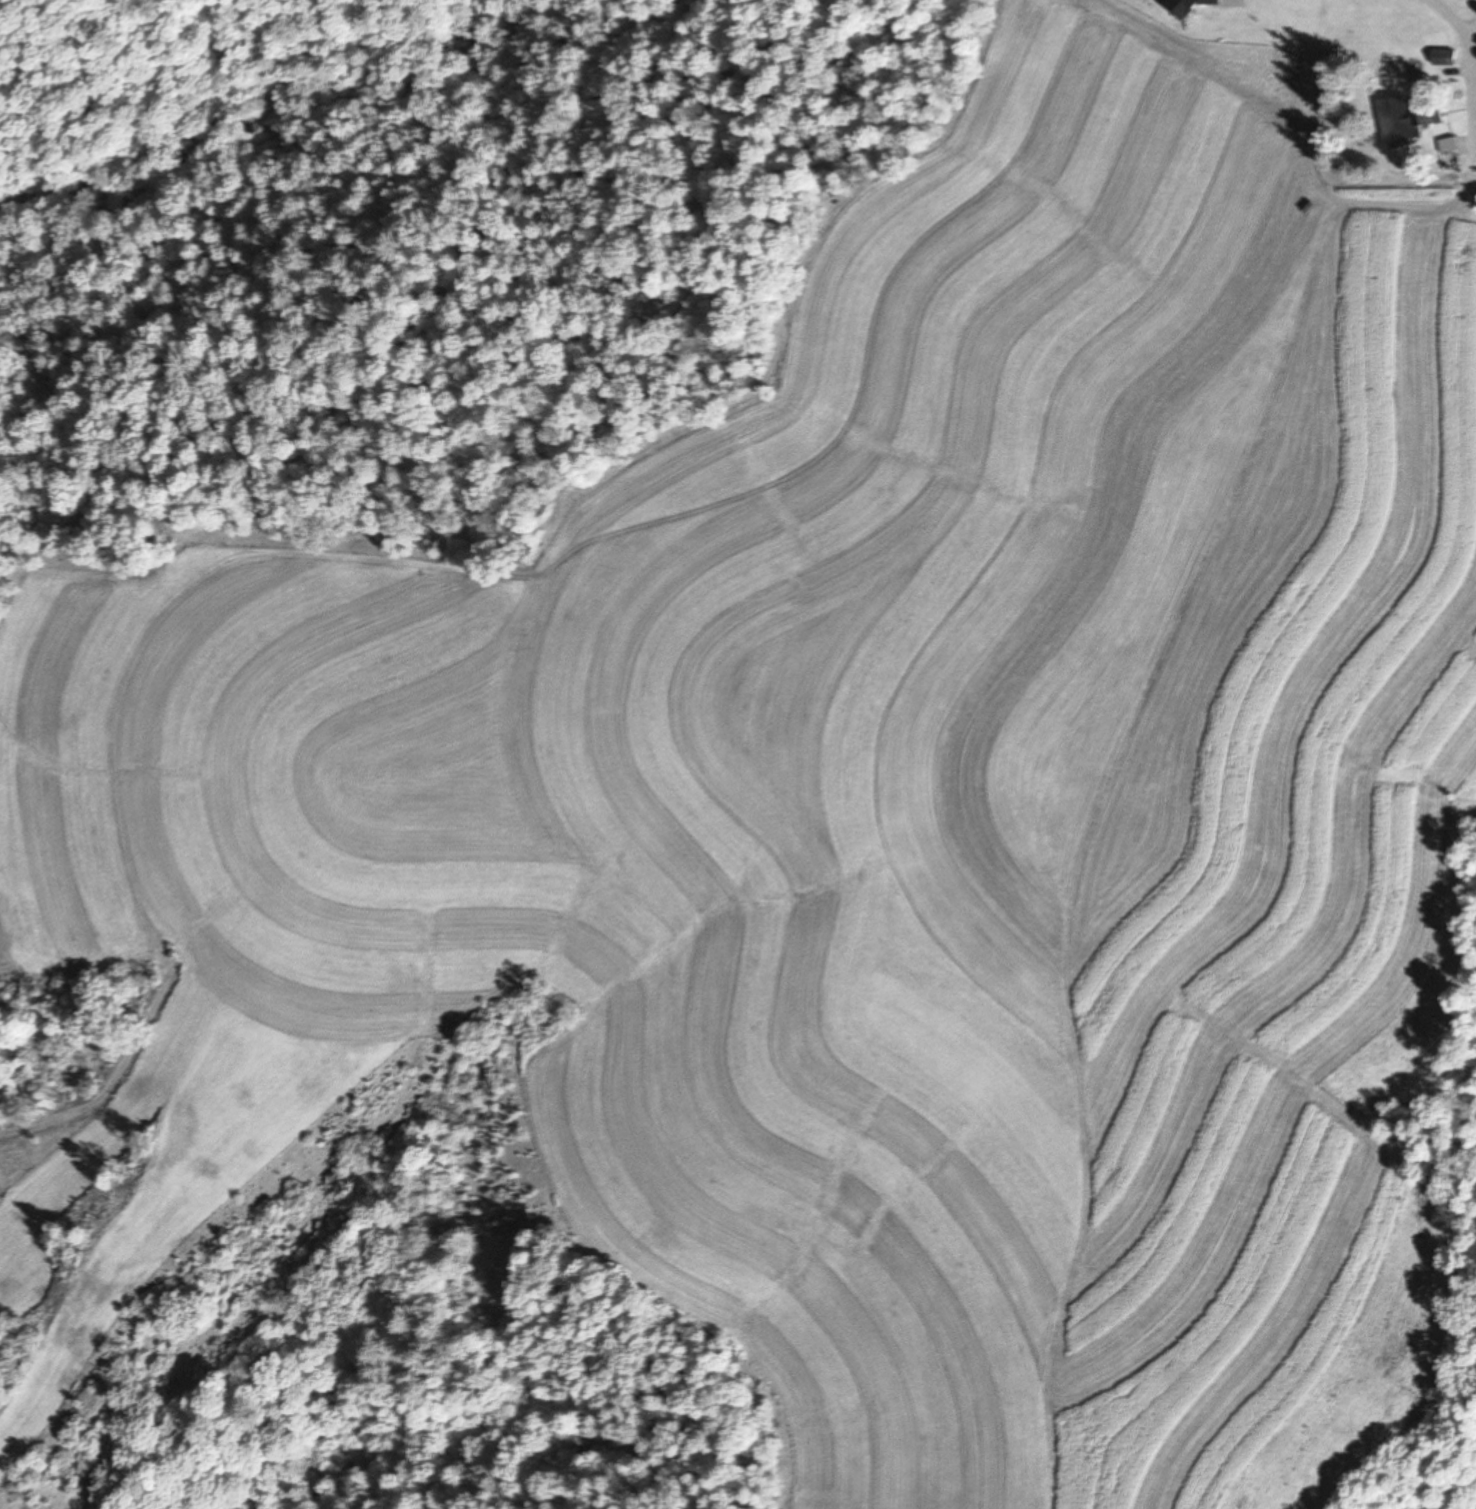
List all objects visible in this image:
building: (1470, 8)
building: (1442, 58)
road: (1471, 81)
building: (1405, 118)

